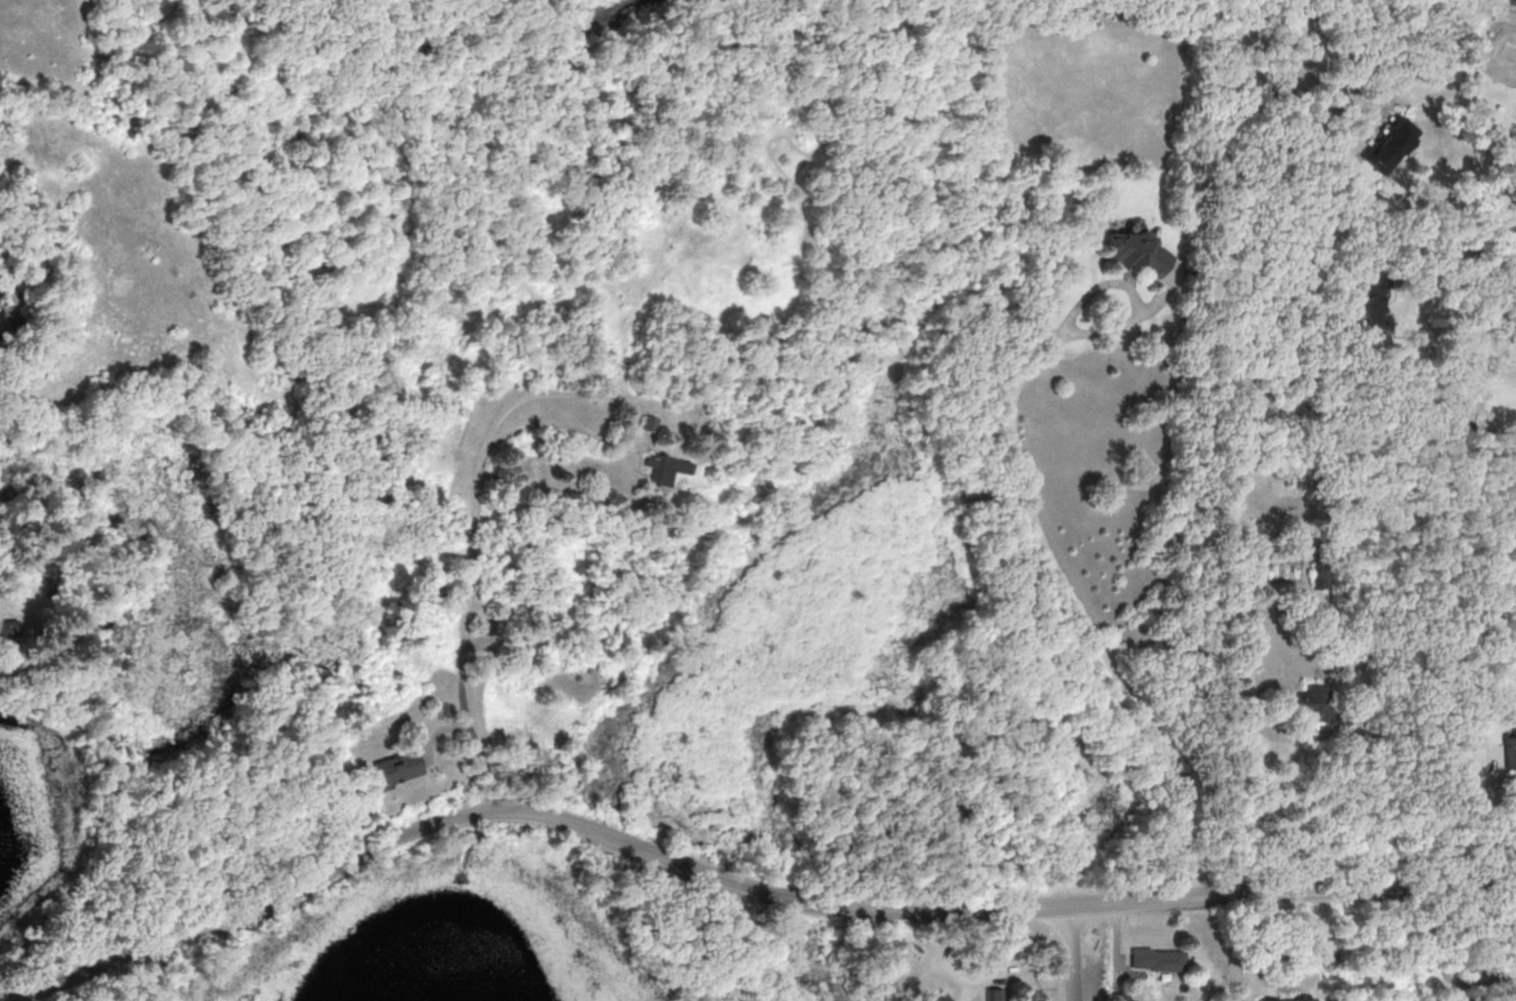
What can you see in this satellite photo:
building: (1388, 145)
road: (1440, 206)
road: (1433, 247)
building: (1133, 251)
building: (1369, 304)
road: (1501, 358)
building: (648, 423)
building: (664, 468)
road: (1030, 517)
road: (474, 558)
building: (9, 629)
building: (60, 639)
building: (1303, 704)
building: (1510, 747)
building: (391, 766)
road: (1374, 799)
road: (1483, 816)
road: (740, 886)
road: (1074, 954)
building: (1155, 959)
building: (992, 994)
building: (1118, 996)
building: (940, 999)

